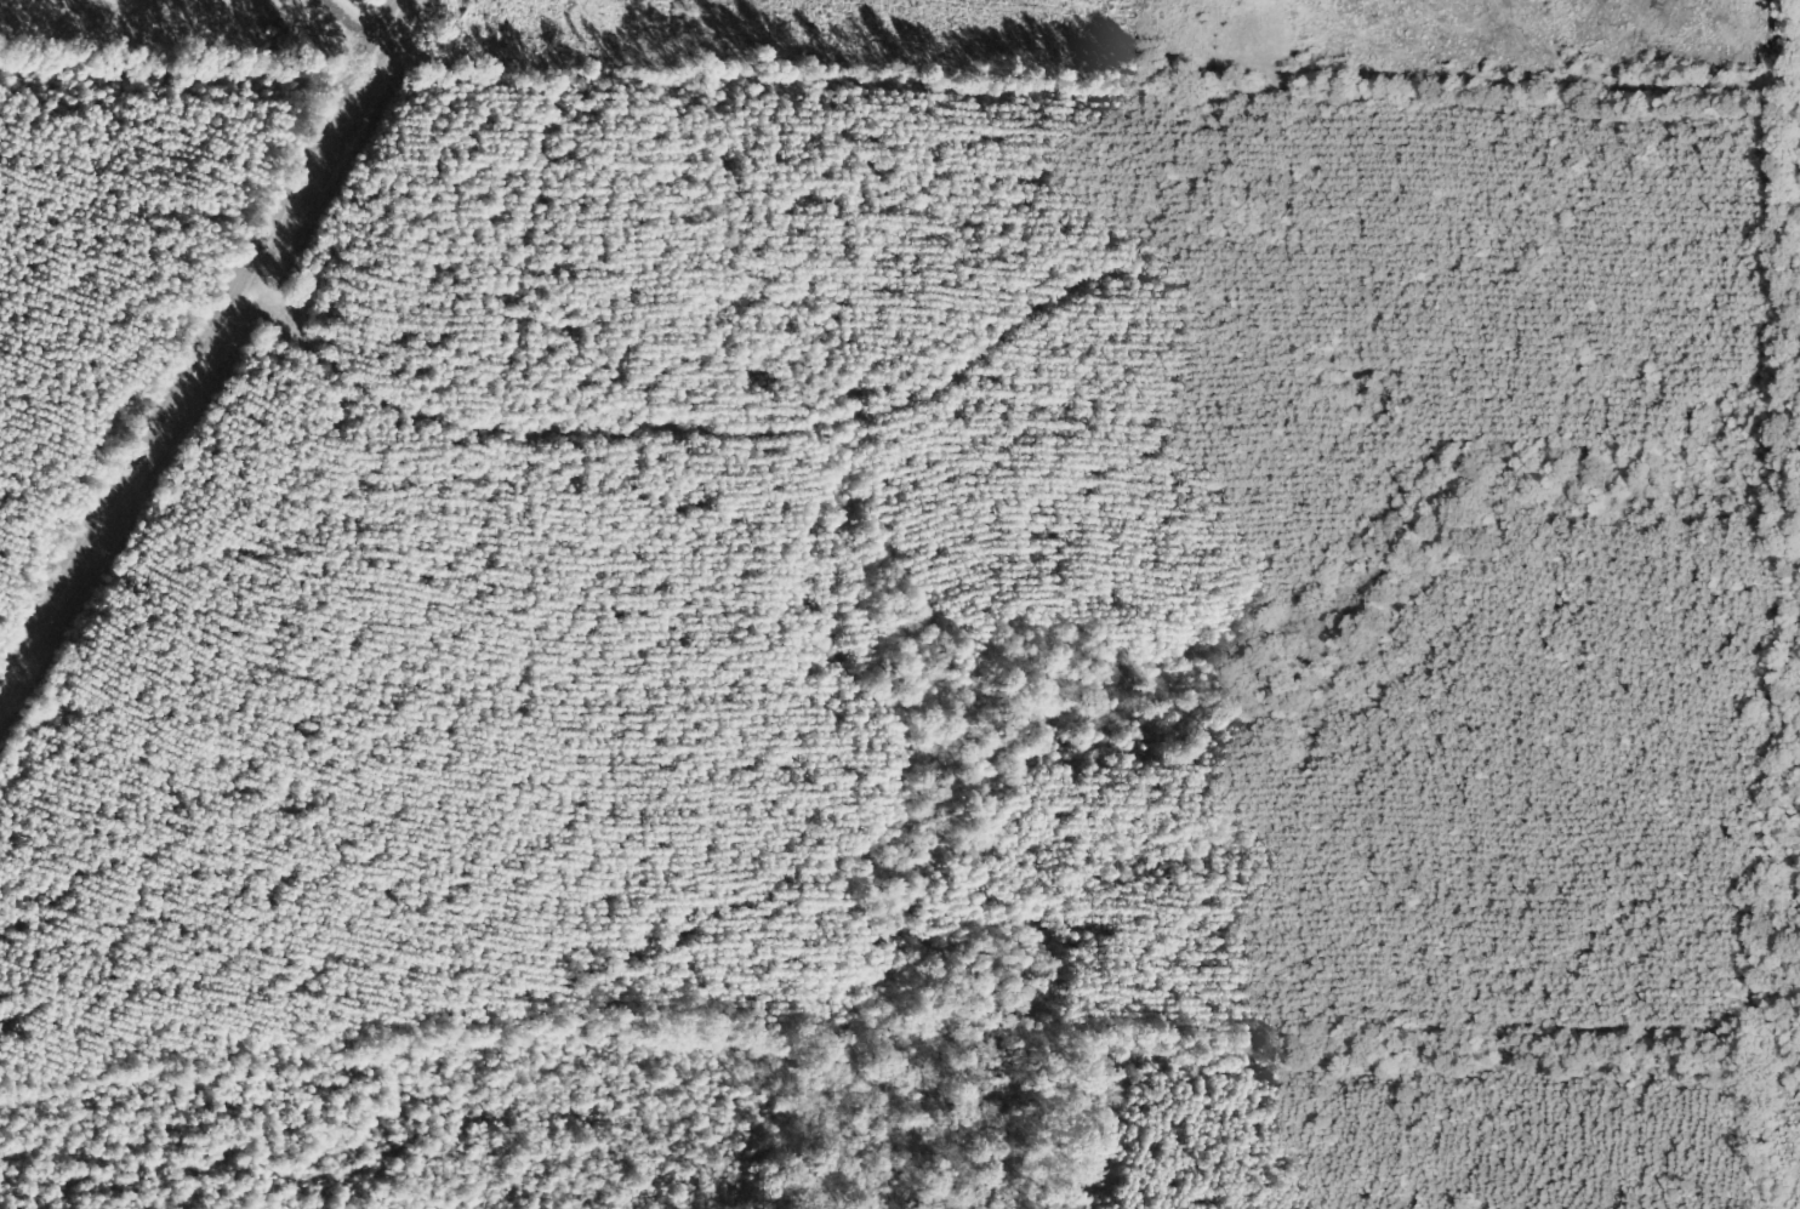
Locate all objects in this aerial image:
road: (243, 411)

